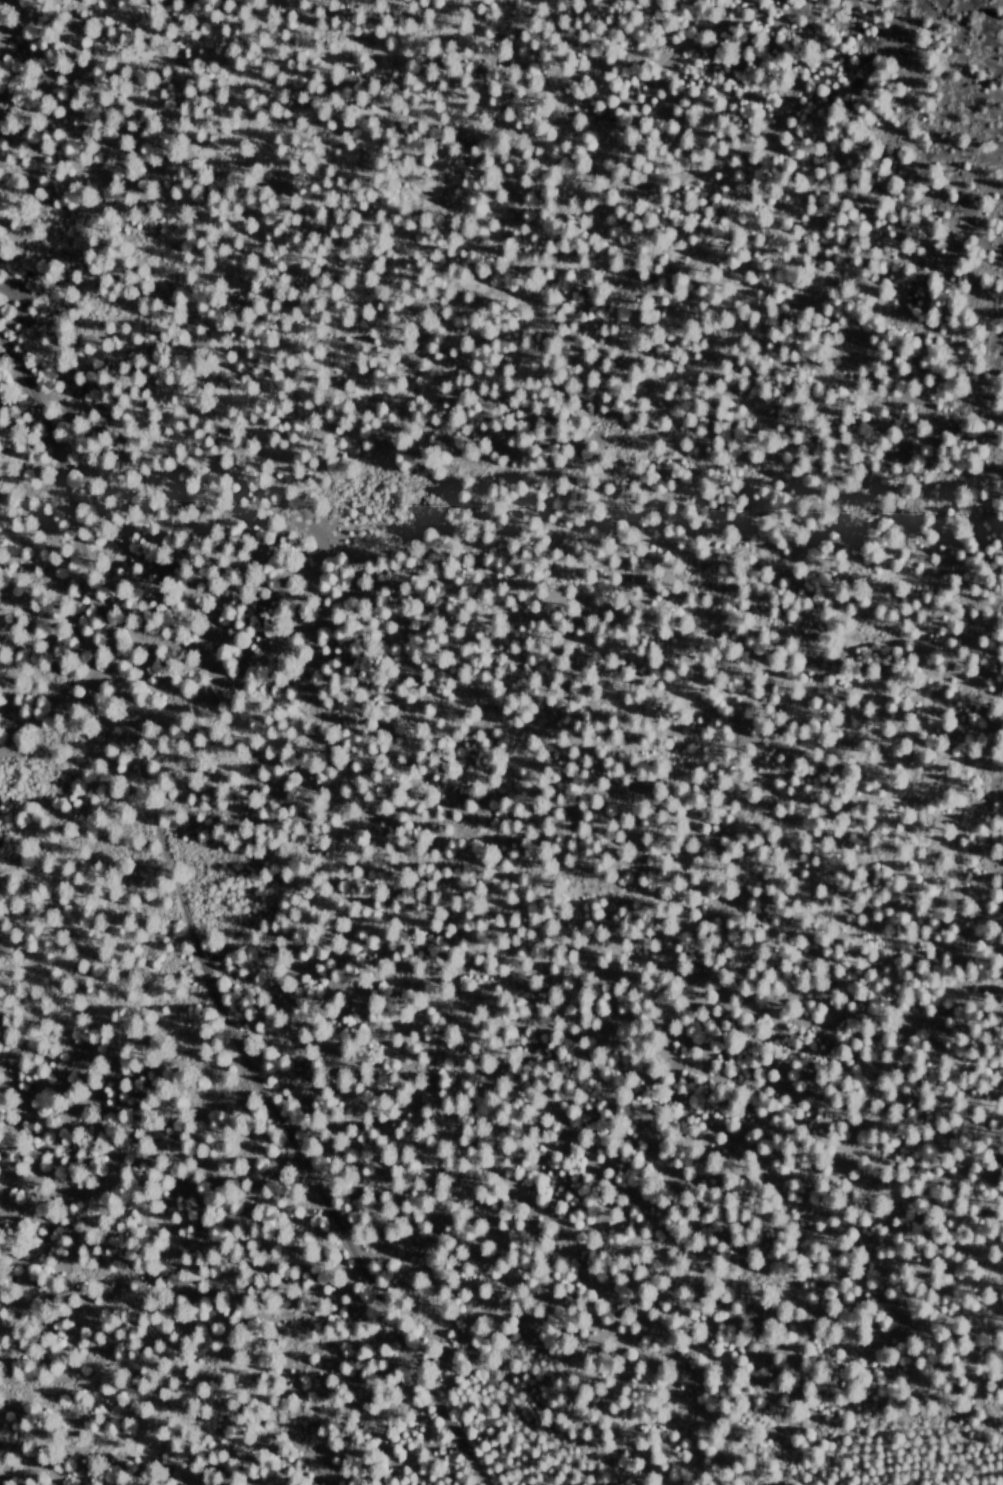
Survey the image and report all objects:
road: (209, 925)

